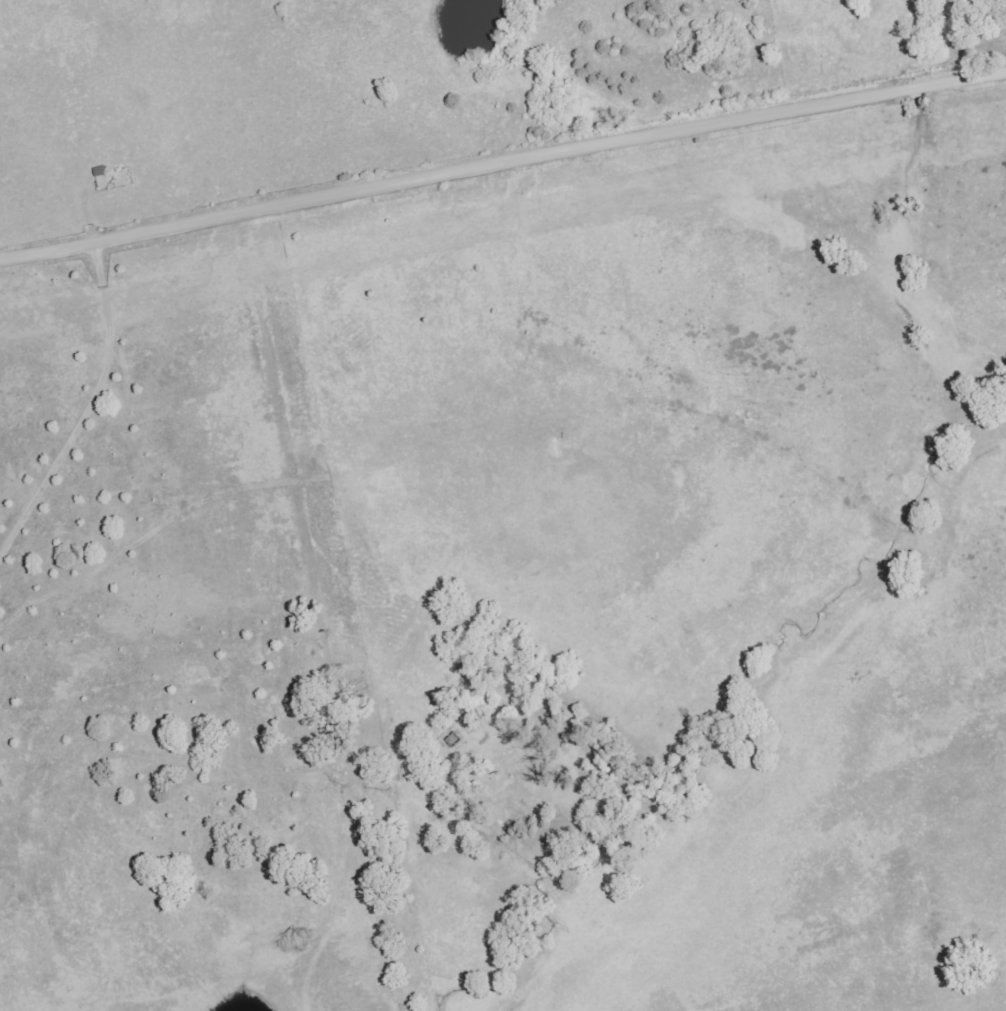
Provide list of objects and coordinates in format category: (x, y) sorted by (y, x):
road: (502, 161)
road: (90, 411)
road: (319, 612)

